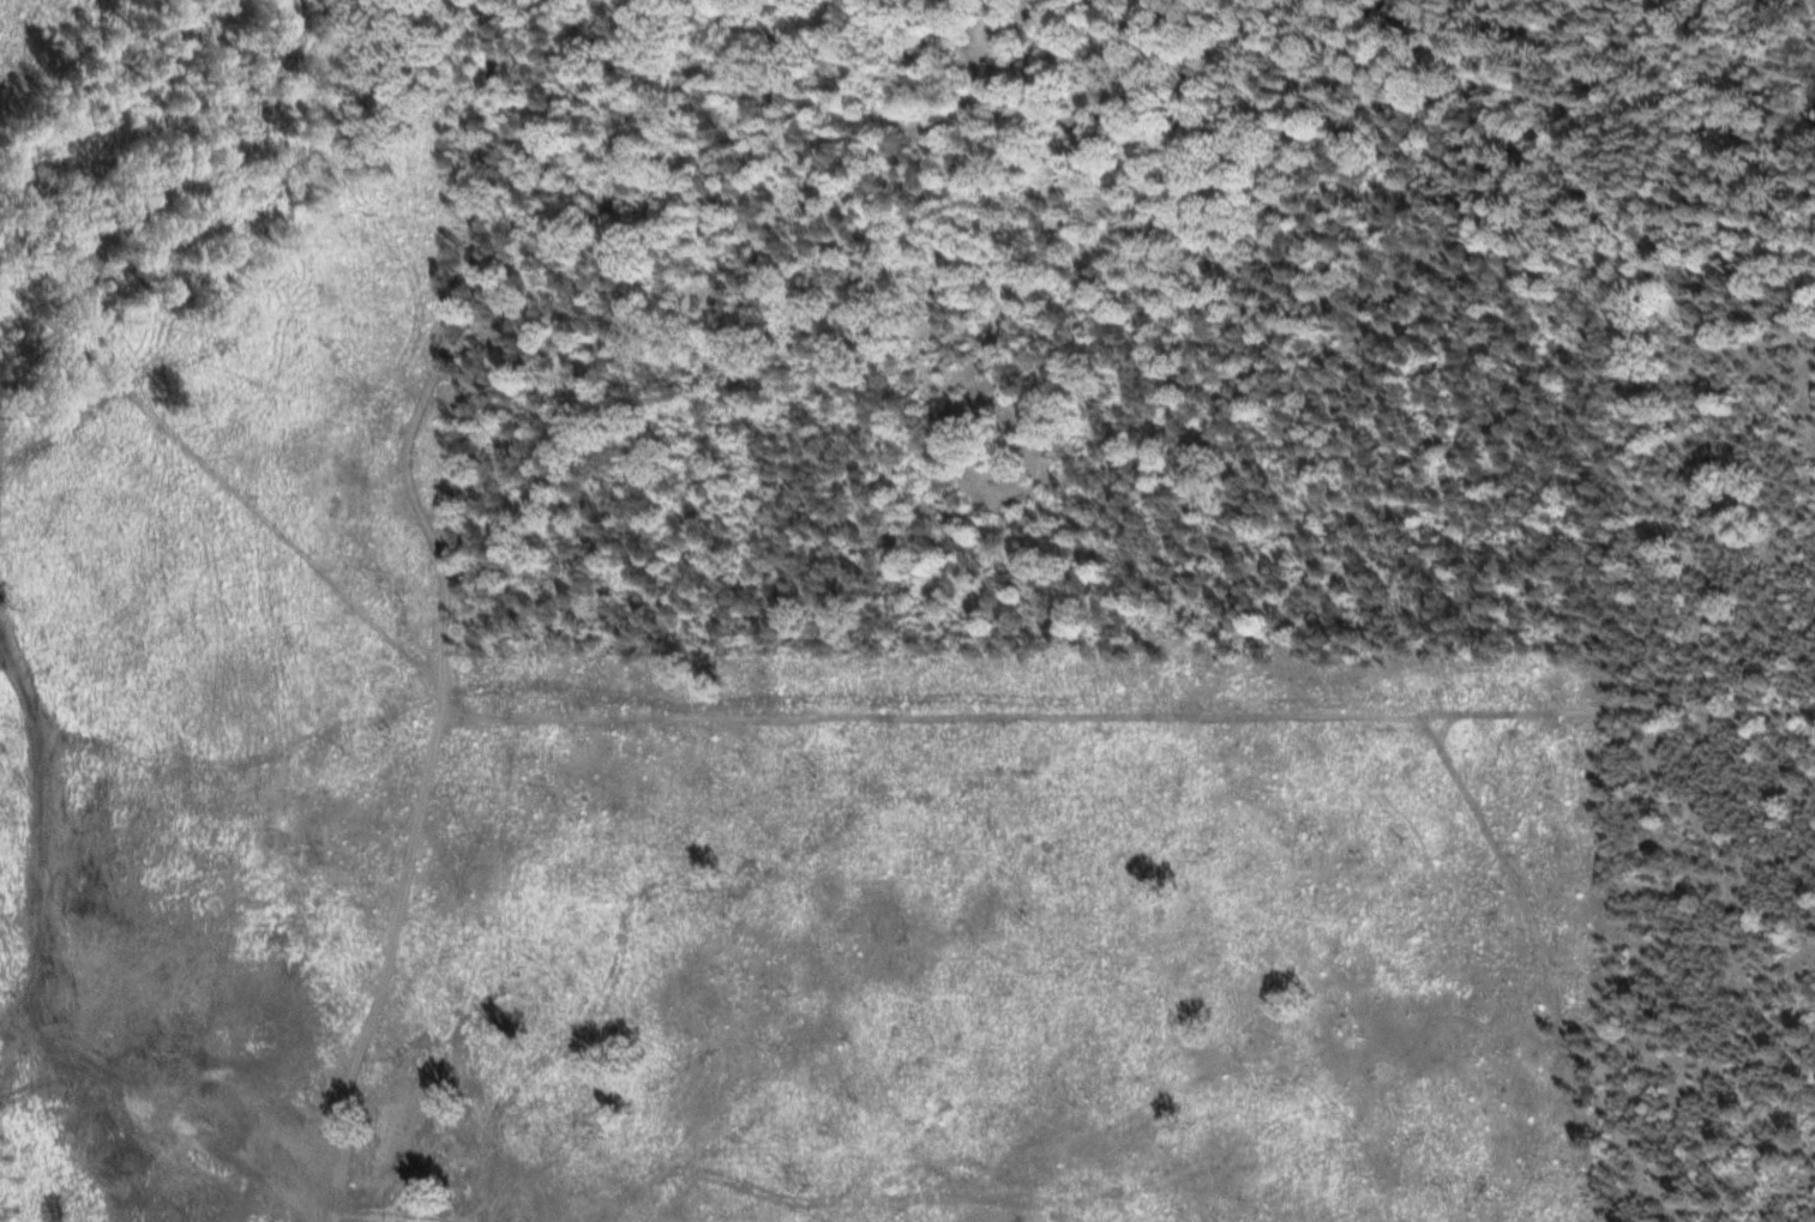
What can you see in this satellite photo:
road: (978, 80)
road: (934, 139)
road: (1010, 243)
road: (951, 456)
road: (767, 712)
road: (1294, 738)
road: (392, 951)

